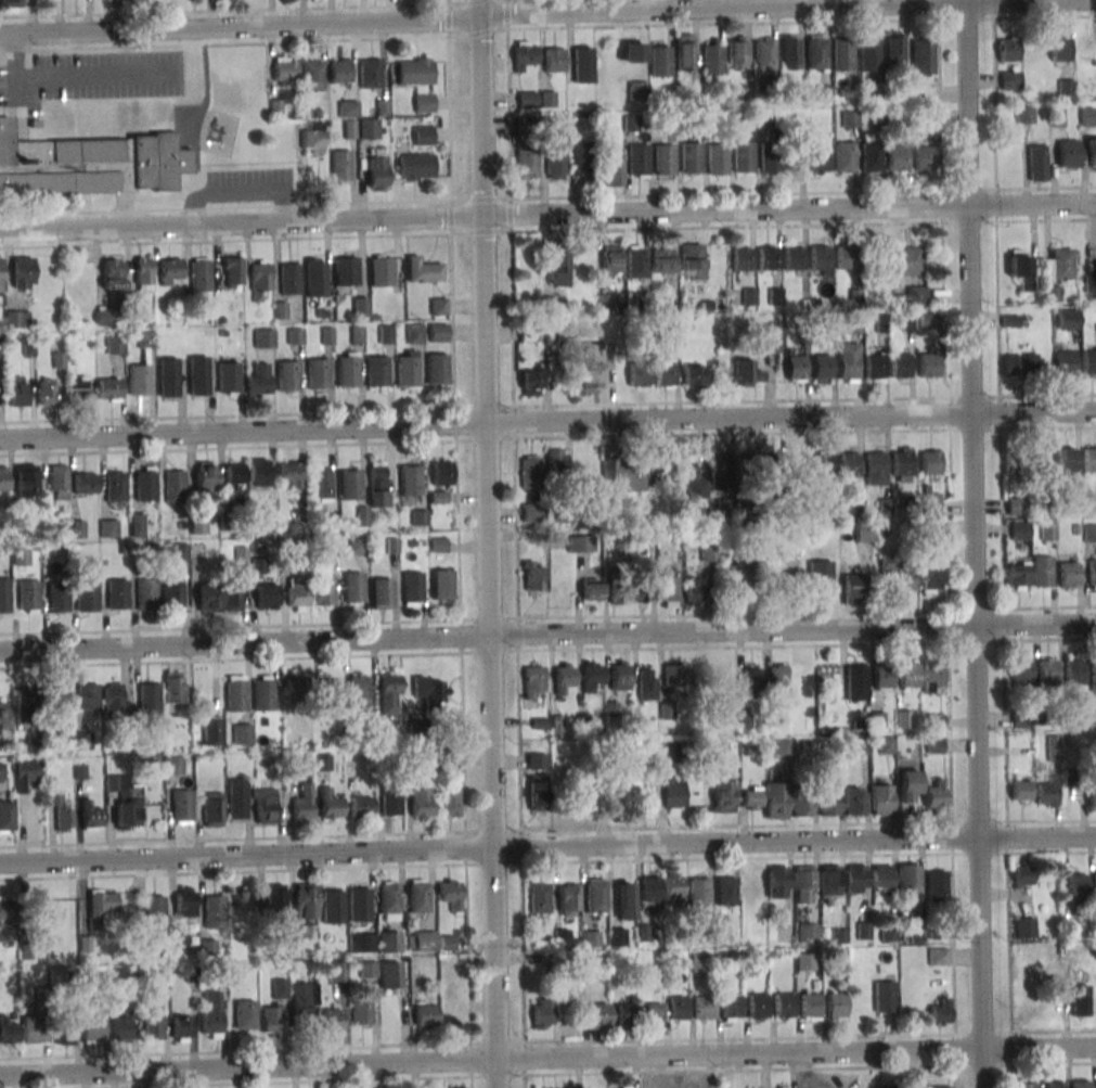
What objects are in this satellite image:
building: (194, 0)
building: (10, 3)
road: (546, 10)
road: (240, 41)
building: (894, 48)
building: (633, 50)
building: (1008, 50)
building: (1059, 50)
building: (737, 52)
building: (790, 52)
building: (817, 53)
building: (525, 54)
building: (685, 54)
building: (842, 54)
building: (869, 54)
road: (16, 55)
building: (923, 57)
building: (765, 59)
building: (554, 60)
building: (712, 60)
building: (660, 61)
building: (583, 64)
building: (340, 71)
building: (285, 72)
building: (414, 72)
building: (370, 73)
road: (94, 76)
building: (313, 76)
parking lot: (89, 78)
building: (1010, 80)
building: (1066, 87)
building: (639, 90)
road: (16, 93)
building: (528, 99)
building: (423, 102)
building: (348, 108)
building: (1024, 114)
building: (1087, 116)
building: (1058, 117)
building: (850, 119)
building: (631, 123)
building: (368, 128)
road: (162, 130)
building: (423, 136)
building: (312, 138)
building: (1092, 152)
building: (1068, 153)
road: (194, 156)
building: (743, 156)
building: (691, 157)
building: (770, 157)
building: (844, 157)
building: (871, 157)
building: (925, 157)
building: (583, 158)
building: (817, 158)
building: (898, 158)
building: (639, 159)
building: (663, 159)
building: (717, 159)
building: (556, 162)
building: (527, 163)
building: (1036, 163)
building: (89, 164)
building: (340, 165)
building: (415, 167)
building: (614, 170)
building: (377, 172)
parking lot: (249, 184)
road: (246, 191)
road: (196, 206)
road: (285, 206)
road: (240, 207)
road: (547, 218)
building: (847, 256)
building: (691, 257)
building: (768, 257)
building: (794, 257)
building: (820, 257)
building: (742, 258)
building: (662, 260)
building: (611, 261)
building: (636, 261)
building: (905, 261)
building: (1058, 264)
building: (558, 266)
building: (1021, 268)
building: (381, 270)
building: (169, 271)
building: (346, 271)
building: (423, 271)
building: (22, 272)
building: (232, 272)
building: (142, 273)
building: (1, 276)
building: (112, 277)
building: (201, 277)
building: (314, 277)
building: (289, 278)
building: (259, 279)
building: (1052, 293)
building: (749, 296)
building: (912, 296)
building: (607, 302)
building: (439, 306)
building: (360, 308)
building: (103, 317)
building: (1068, 319)
building: (16, 320)
building: (438, 332)
building: (415, 333)
building: (295, 335)
building: (263, 338)
building: (145, 340)
building: (771, 343)
building: (115, 344)
building: (1088, 361)
building: (848, 362)
building: (796, 363)
building: (1065, 363)
building: (1019, 364)
building: (902, 366)
building: (929, 366)
building: (591, 367)
building: (875, 367)
building: (822, 369)
building: (437, 370)
building: (377, 371)
building: (408, 371)
building: (347, 372)
building: (639, 373)
building: (665, 373)
building: (746, 373)
building: (318, 374)
building: (693, 375)
building: (198, 376)
building: (288, 376)
building: (168, 377)
building: (229, 377)
building: (138, 380)
building: (259, 381)
building: (531, 382)
building: (77, 389)
building: (108, 389)
building: (17, 391)
building: (47, 392)
road: (547, 421)
road: (455, 424)
building: (1089, 459)
building: (1041, 460)
building: (1066, 460)
building: (556, 461)
building: (584, 461)
building: (930, 462)
building: (1014, 462)
building: (798, 464)
building: (823, 464)
building: (850, 464)
building: (902, 464)
building: (875, 468)
building: (719, 469)
building: (262, 472)
building: (442, 472)
building: (530, 472)
building: (291, 473)
building: (233, 475)
building: (622, 475)
building: (206, 476)
building: (3, 478)
building: (410, 479)
building: (56, 482)
building: (25, 483)
building: (83, 483)
building: (144, 483)
building: (320, 483)
building: (694, 483)
building: (350, 484)
building: (376, 484)
building: (114, 486)
building: (175, 487)
building: (931, 503)
building: (830, 504)
building: (724, 507)
building: (1017, 507)
building: (531, 512)
building: (362, 516)
building: (420, 517)
building: (108, 528)
building: (1020, 530)
building: (1048, 530)
building: (863, 532)
building: (1089, 533)
road: (489, 543)
road: (515, 543)
building: (580, 543)
road: (973, 543)
road: (1001, 543)
building: (331, 547)
building: (358, 547)
building: (710, 552)
building: (21, 556)
building: (1041, 572)
building: (899, 574)
building: (1068, 574)
building: (1092, 575)
building: (533, 576)
building: (820, 576)
building: (930, 576)
building: (1016, 576)
building: (737, 577)
building: (779, 584)
building: (442, 585)
building: (412, 587)
building: (351, 588)
building: (642, 588)
building: (668, 588)
building: (852, 588)
building: (323, 589)
building: (591, 589)
building: (619, 591)
building: (694, 592)
building: (298, 593)
building: (117, 594)
building: (146, 594)
building: (382, 594)
building: (4, 596)
building: (27, 596)
building: (172, 596)
building: (266, 596)
building: (86, 597)
building: (57, 598)
building: (208, 598)
building: (231, 599)
road: (547, 632)
building: (1047, 670)
building: (1021, 671)
building: (1073, 671)
building: (1093, 674)
building: (591, 675)
building: (672, 675)
building: (620, 676)
building: (882, 676)
building: (906, 676)
building: (560, 677)
building: (932, 678)
building: (776, 679)
building: (534, 681)
building: (726, 681)
building: (751, 681)
building: (855, 682)
building: (646, 683)
building: (173, 686)
building: (298, 688)
building: (359, 690)
building: (331, 691)
building: (430, 691)
building: (389, 692)
building: (235, 693)
building: (263, 693)
building: (88, 695)
building: (149, 697)
building: (115, 700)
building: (57, 701)
building: (23, 706)
building: (1091, 715)
building: (4, 718)
building: (745, 721)
building: (211, 730)
building: (242, 733)
building: (83, 740)
building: (934, 744)
building: (782, 747)
building: (714, 751)
building: (322, 760)
building: (536, 760)
building: (173, 765)
building: (1, 770)
building: (27, 775)
building: (908, 784)
building: (1020, 790)
building: (674, 793)
building: (1046, 793)
building: (934, 794)
building: (590, 795)
building: (723, 795)
building: (537, 796)
building: (751, 797)
building: (236, 798)
building: (775, 799)
building: (880, 799)
building: (829, 801)
building: (854, 801)
building: (1092, 801)
building: (125, 802)
building: (449, 802)
building: (801, 802)
building: (391, 803)
building: (422, 803)
building: (330, 804)
building: (304, 805)
building: (266, 806)
building: (361, 806)
building: (182, 807)
building: (212, 809)
building: (59, 812)
building: (91, 816)
building: (8, 817)
road: (547, 845)
building: (1022, 876)
building: (881, 878)
building: (908, 878)
building: (856, 879)
building: (829, 880)
building: (777, 882)
building: (803, 884)
building: (937, 885)
building: (672, 887)
building: (650, 888)
building: (725, 891)
building: (1073, 891)
building: (699, 892)
building: (451, 894)
building: (418, 896)
building: (596, 896)
building: (539, 897)
building: (244, 898)
building: (275, 899)
building: (388, 900)
building: (568, 900)
building: (624, 900)
building: (184, 901)
building: (306, 901)
building: (360, 904)
building: (100, 906)
building: (332, 906)
building: (7, 908)
building: (154, 911)
building: (212, 911)
building: (1024, 927)
building: (864, 931)
building: (808, 933)
building: (617, 936)
building: (563, 938)
building: (591, 938)
building: (425, 940)
building: (388, 942)
building: (362, 943)
building: (207, 947)
building: (938, 957)
building: (699, 962)
building: (368, 969)
building: (337, 971)
building: (390, 977)
building: (280, 988)
building: (884, 996)
building: (304, 998)
building: (1080, 1000)
building: (810, 1004)
building: (835, 1004)
building: (758, 1006)
building: (783, 1006)
building: (731, 1007)
building: (678, 1008)
building: (704, 1008)
building: (362, 1010)
building: (941, 1012)
building: (542, 1013)
building: (654, 1013)
building: (245, 1014)
building: (426, 1014)
building: (624, 1014)
building: (210, 1015)
building: (595, 1015)
building: (331, 1017)
building: (271, 1021)
building: (153, 1022)
building: (121, 1025)
building: (180, 1028)
building: (31, 1029)
building: (94, 1029)
building: (8, 1031)
building: (64, 1031)
road: (547, 1058)
building: (1080, 1084)
building: (1026, 1085)
building: (1054, 1085)
building: (622, 1087)
building: (781, 1087)
building: (939, 1087)

